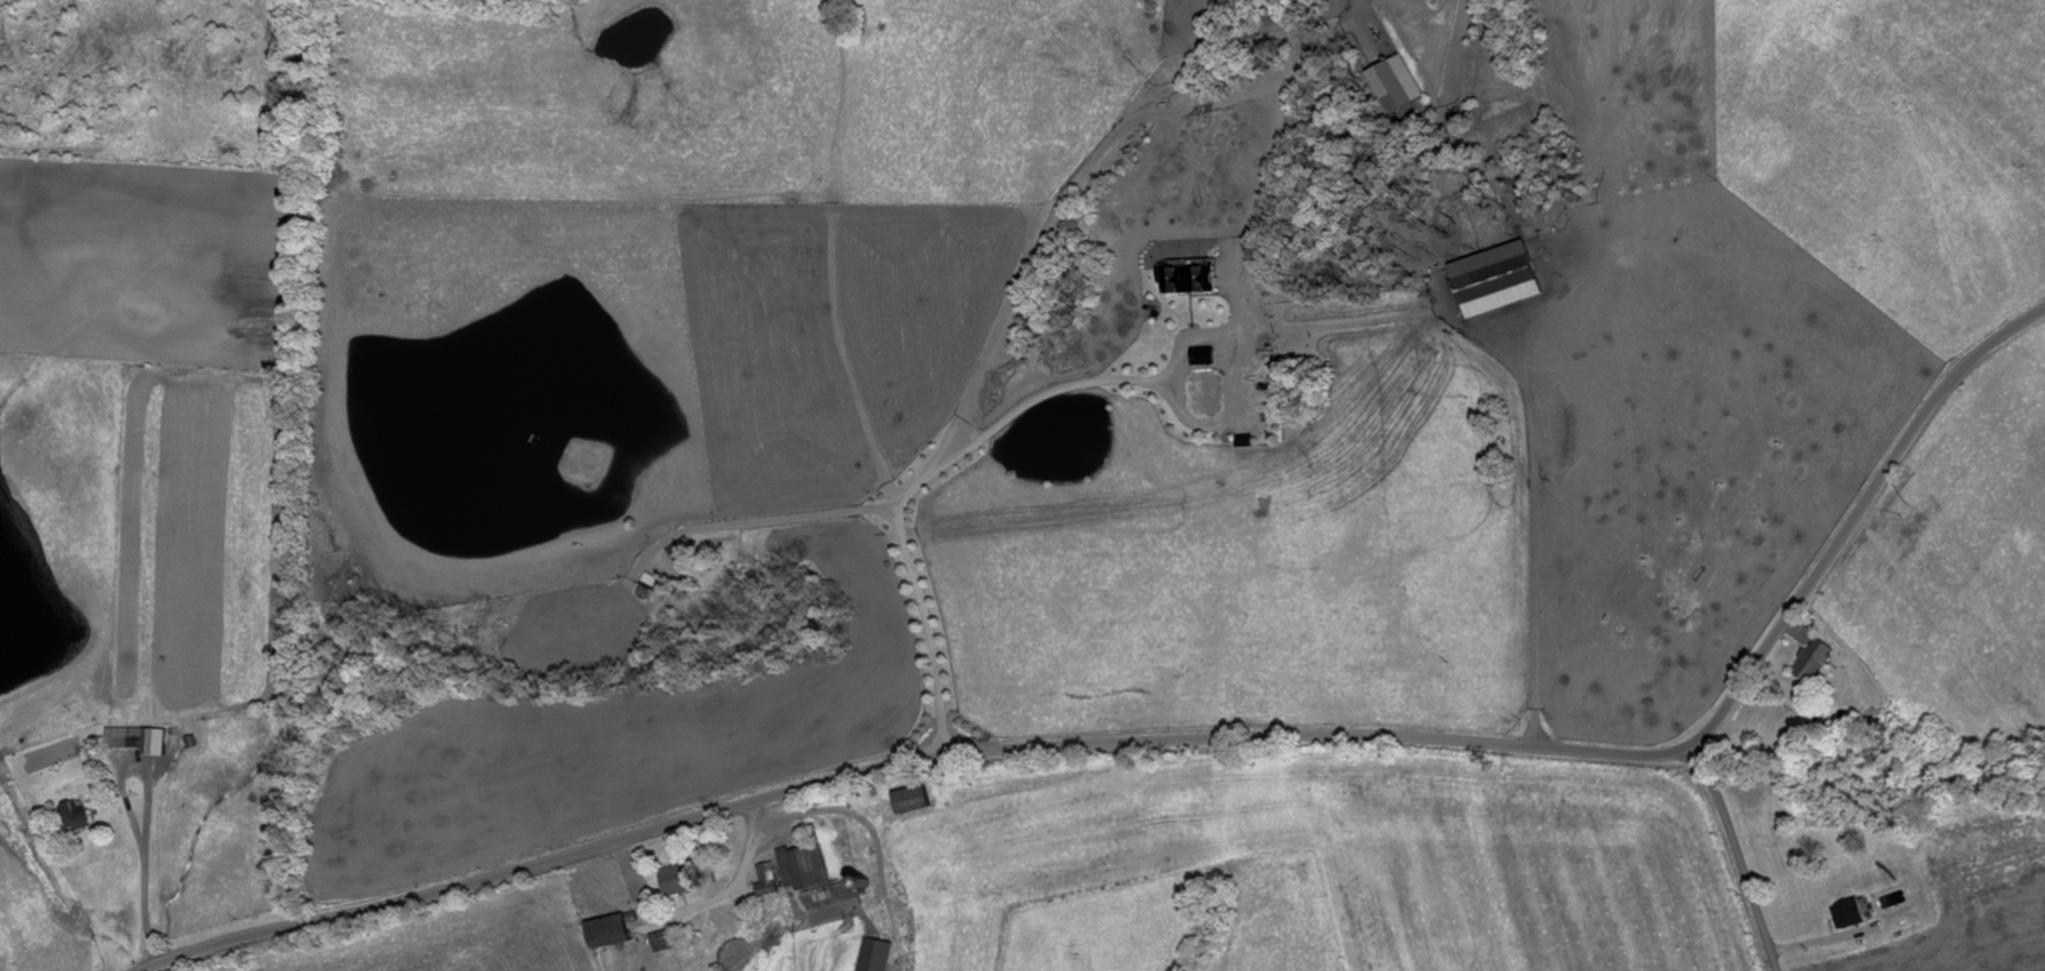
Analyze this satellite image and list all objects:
building: (1498, 278)
road: (1480, 481)
building: (682, 550)
road: (1001, 552)
building: (654, 581)
building: (1808, 666)
building: (1889, 737)
building: (132, 738)
road: (1184, 738)
road: (195, 779)
building: (913, 799)
building: (77, 816)
road: (1737, 855)
building: (815, 878)
building: (768, 880)
building: (676, 881)
building: (1849, 915)
building: (612, 930)
building: (673, 939)
building: (876, 955)

